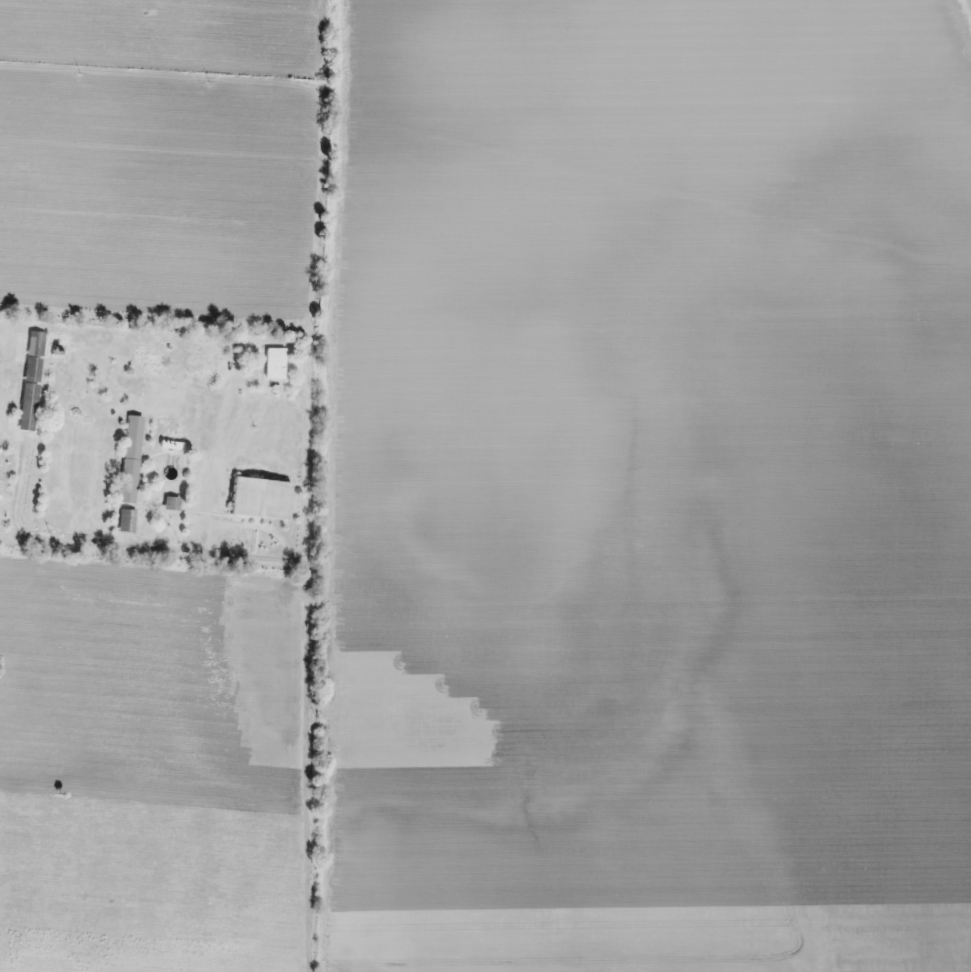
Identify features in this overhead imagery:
road: (310, 485)
building: (255, 498)

